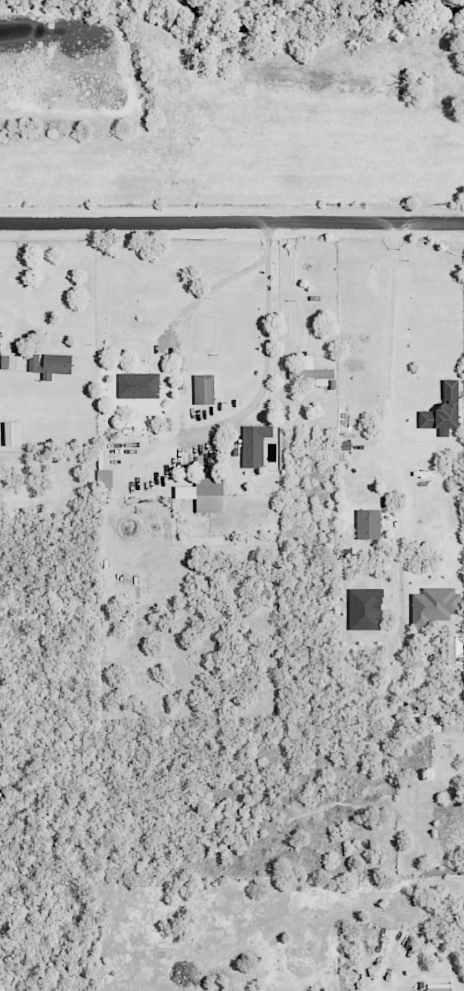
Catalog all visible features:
road: (232, 224)
road: (207, 291)
road: (9, 319)
road: (266, 351)
building: (15, 362)
building: (314, 371)
building: (141, 385)
road: (389, 404)
building: (447, 409)
building: (15, 433)
building: (256, 444)
building: (107, 475)
building: (207, 493)
building: (371, 523)
building: (438, 605)
building: (368, 608)
building: (441, 988)

